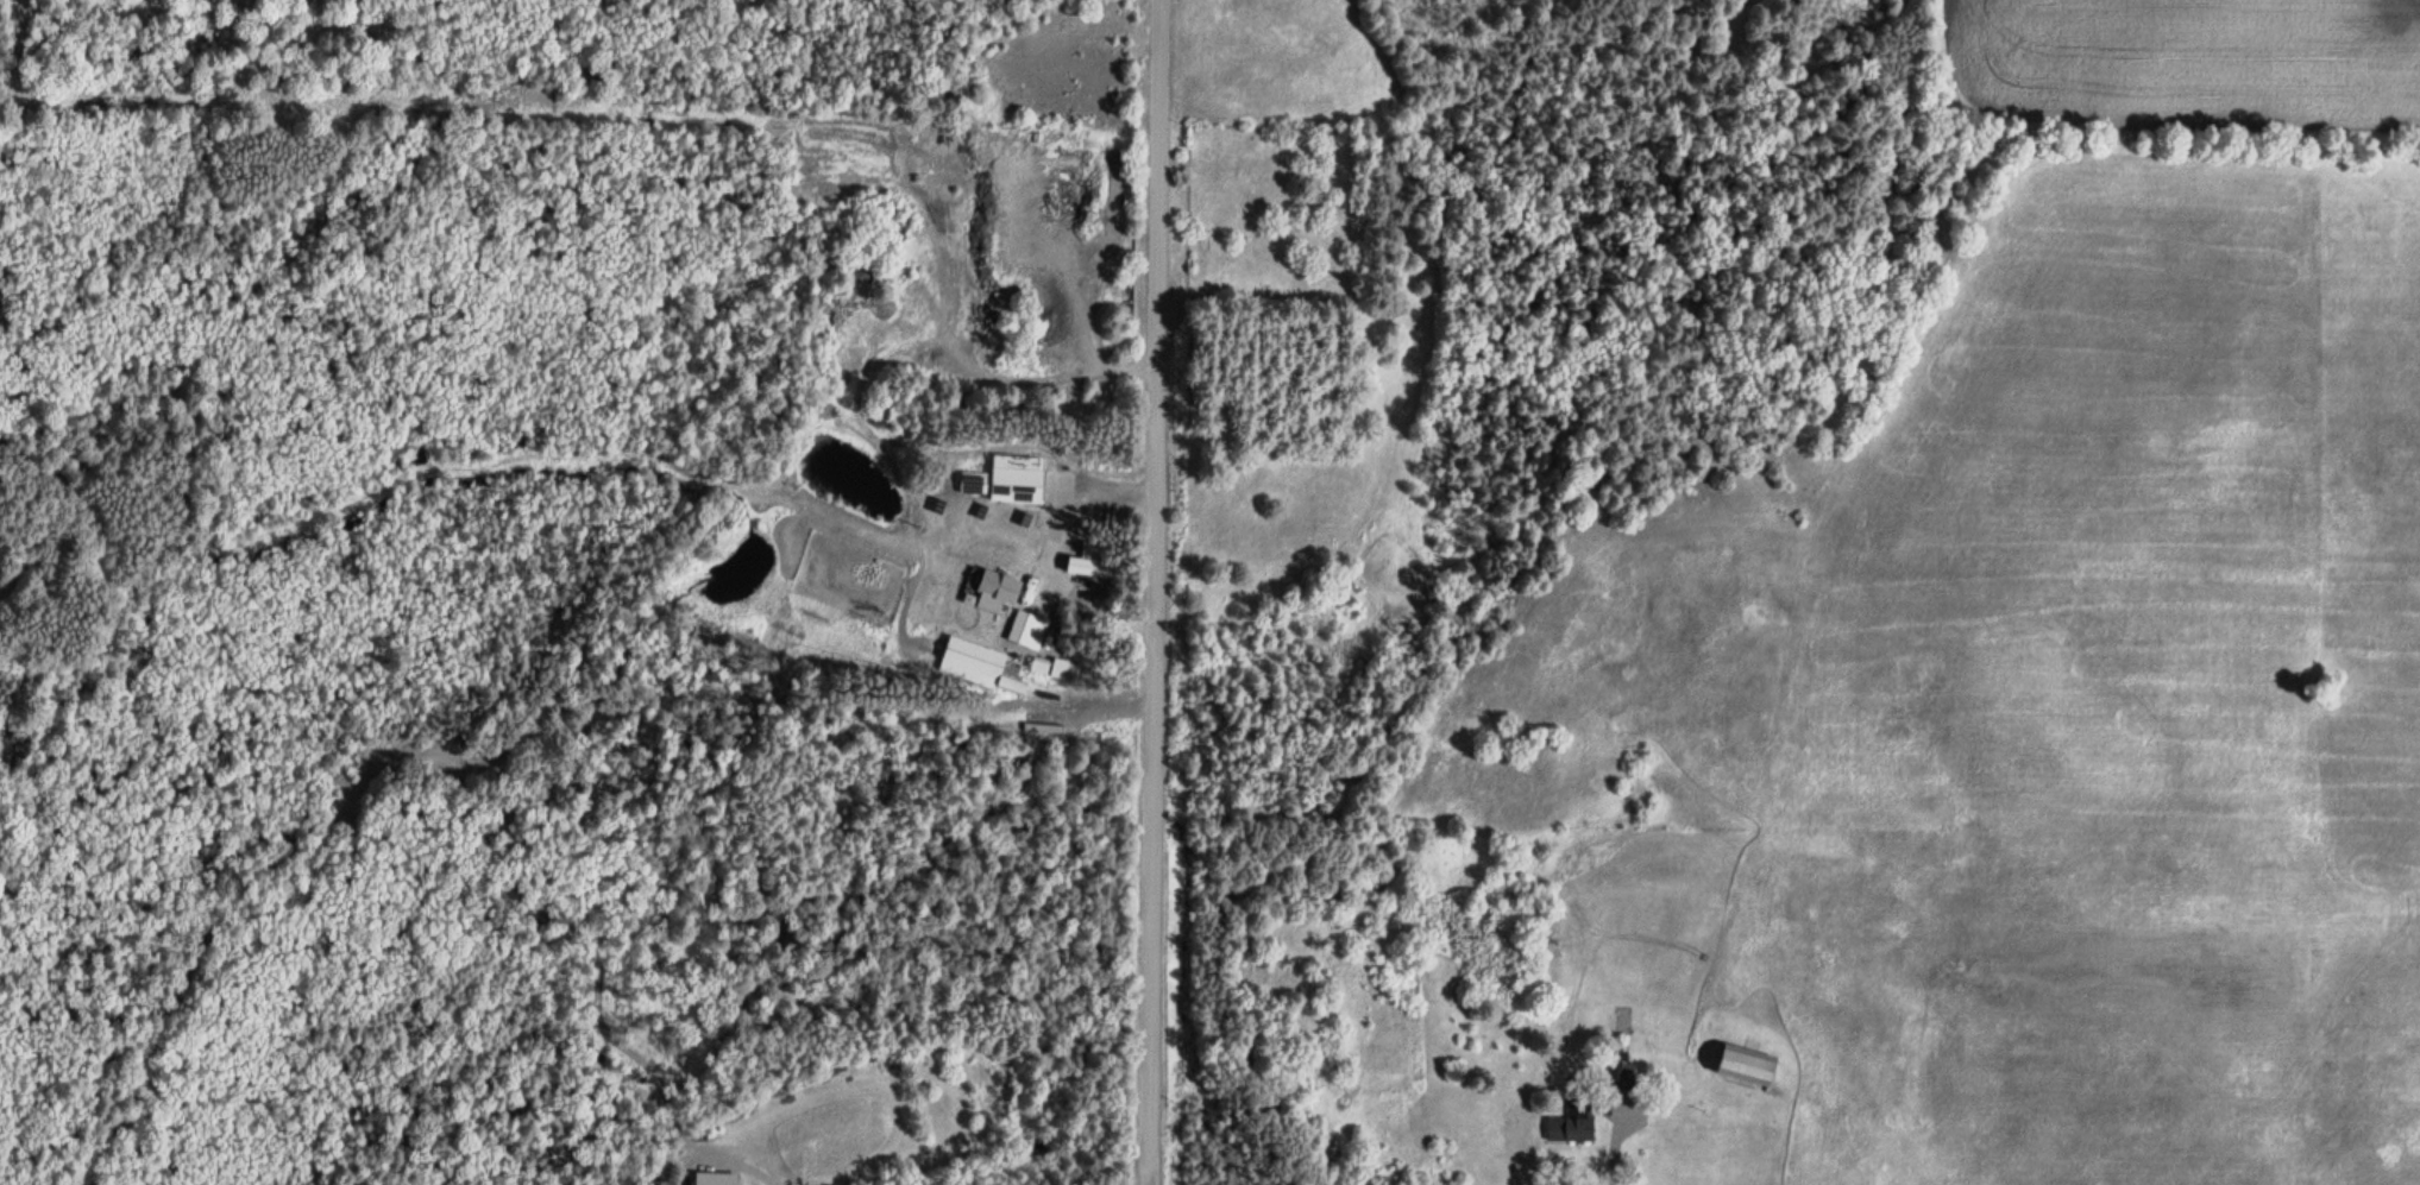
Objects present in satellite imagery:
park: (1301, 273)
building: (975, 485)
building: (1092, 555)
building: (997, 587)
road: (1156, 592)
building: (1026, 631)
building: (1042, 668)
building: (1011, 670)
building: (1745, 1065)
building: (1621, 1071)
building: (1573, 1123)
building: (715, 1179)

